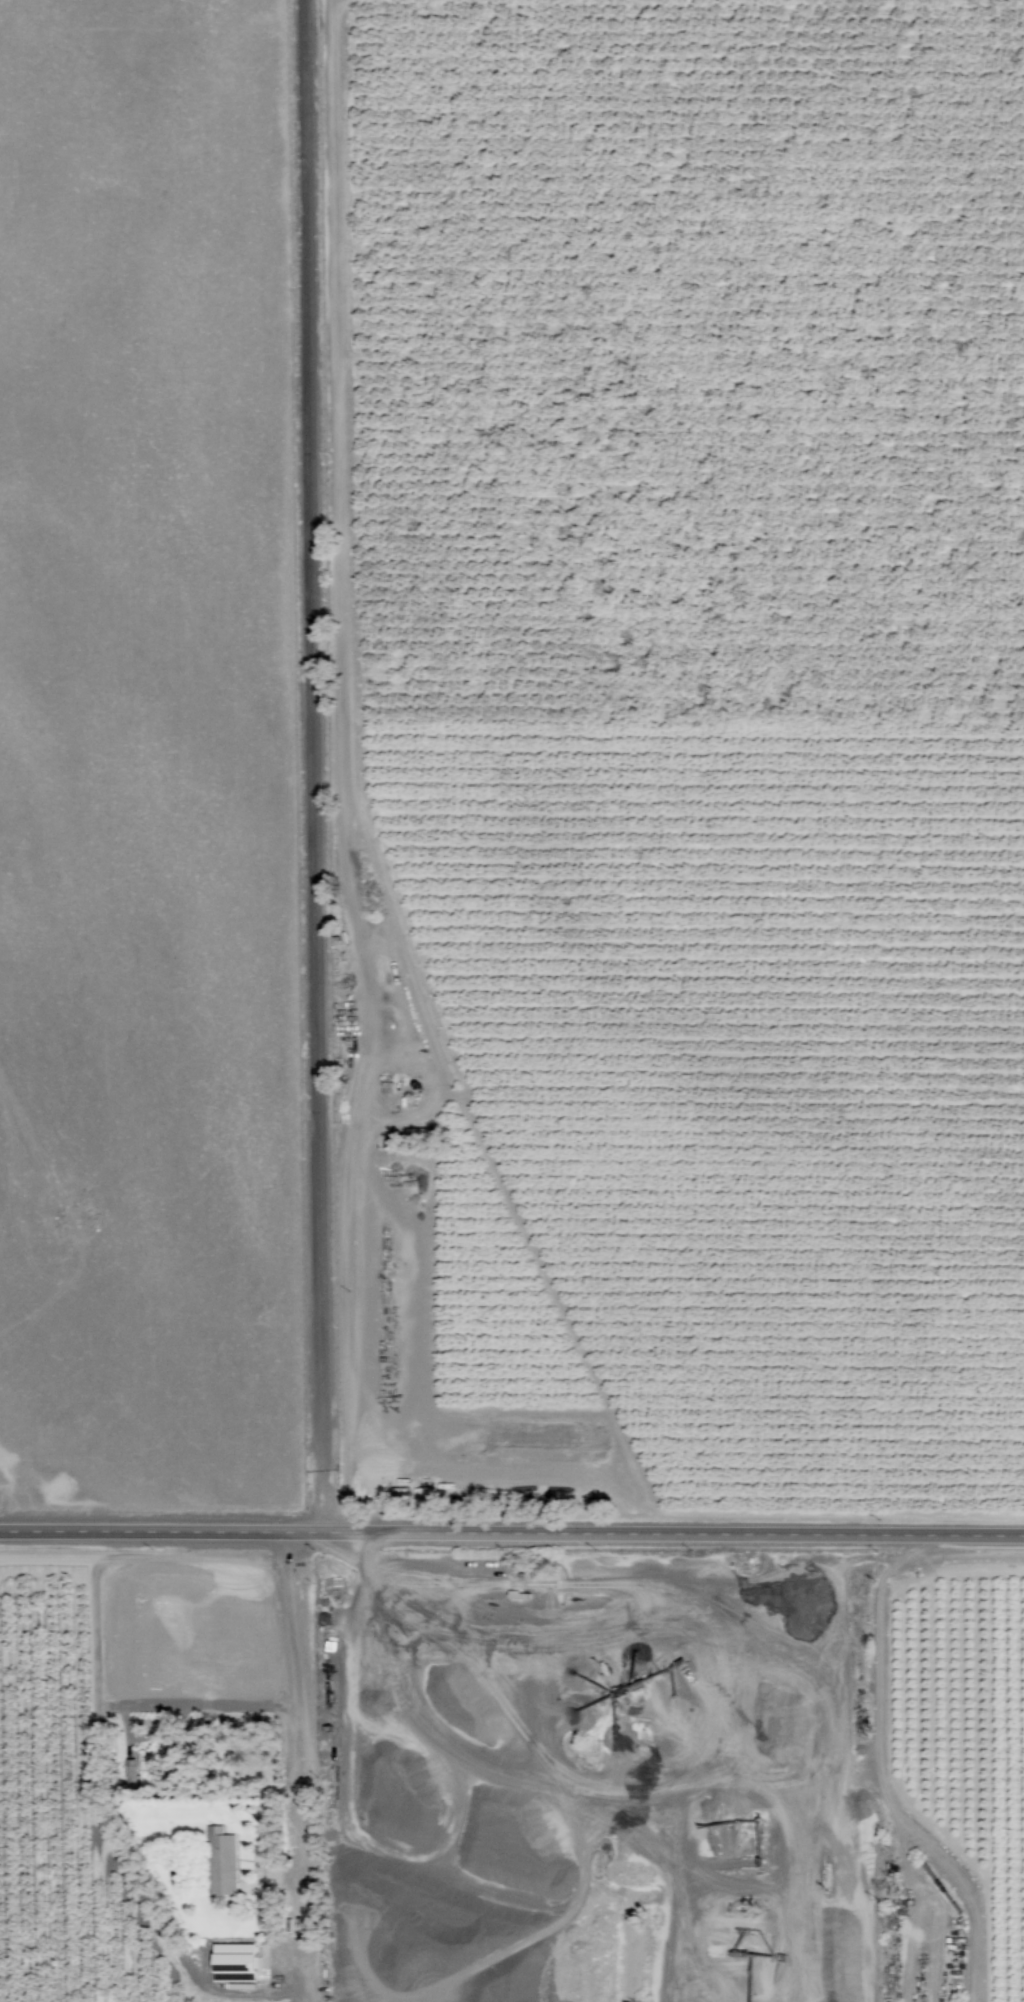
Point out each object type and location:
road: (313, 766)
road: (511, 1534)
road: (302, 1767)
quarry: (596, 1773)
building: (237, 1963)

